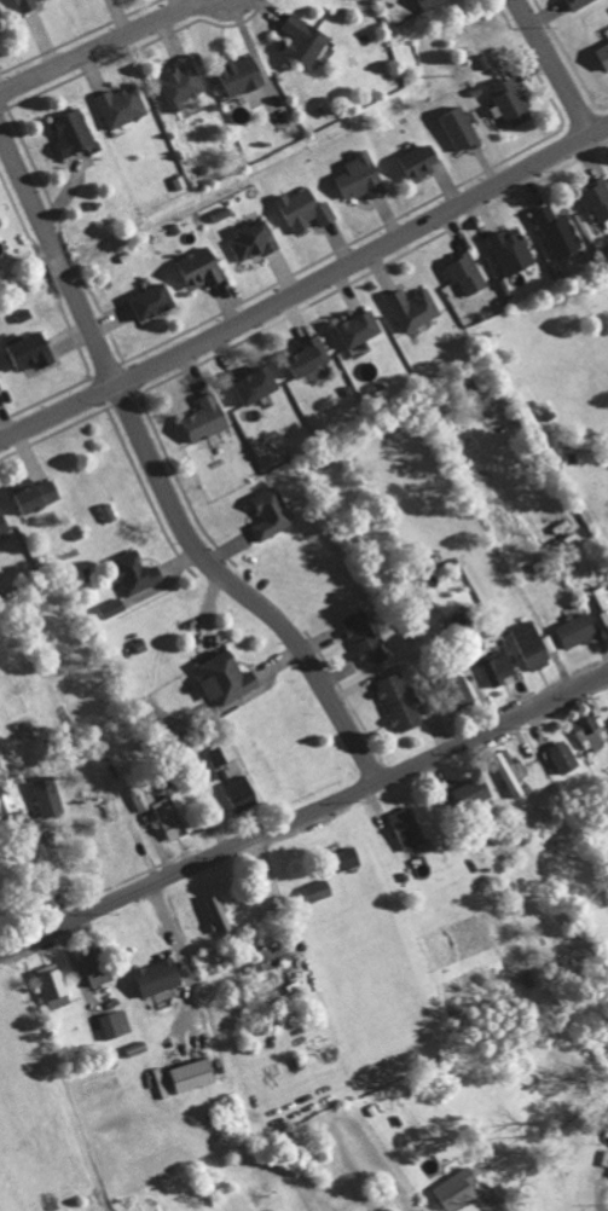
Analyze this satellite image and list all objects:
building: (433, 2)
building: (578, 2)
building: (29, 4)
building: (1, 13)
building: (306, 37)
road: (104, 52)
building: (603, 53)
road: (554, 68)
building: (244, 74)
building: (183, 82)
building: (513, 102)
building: (125, 104)
building: (462, 128)
building: (75, 131)
building: (419, 161)
building: (361, 176)
building: (597, 197)
building: (306, 209)
building: (560, 232)
building: (255, 239)
building: (513, 250)
building: (204, 267)
building: (467, 273)
road: (305, 286)
building: (156, 300)
building: (413, 307)
building: (361, 328)
building: (36, 349)
building: (309, 357)
building: (260, 384)
building: (1, 386)
building: (209, 417)
road: (155, 474)
building: (36, 494)
building: (109, 512)
building: (273, 512)
building: (4, 522)
building: (138, 572)
building: (602, 602)
building: (114, 607)
building: (577, 628)
building: (365, 638)
building: (532, 643)
building: (498, 667)
building: (228, 677)
building: (464, 694)
building: (400, 702)
building: (590, 734)
building: (216, 755)
building: (564, 757)
building: (514, 772)
building: (242, 792)
building: (474, 792)
building: (48, 795)
building: (7, 800)
building: (166, 812)
road: (305, 816)
building: (410, 827)
building: (351, 857)
building: (319, 890)
building: (221, 912)
building: (272, 956)
building: (98, 964)
building: (161, 975)
building: (54, 985)
building: (116, 1022)
building: (193, 1074)
building: (461, 1188)

